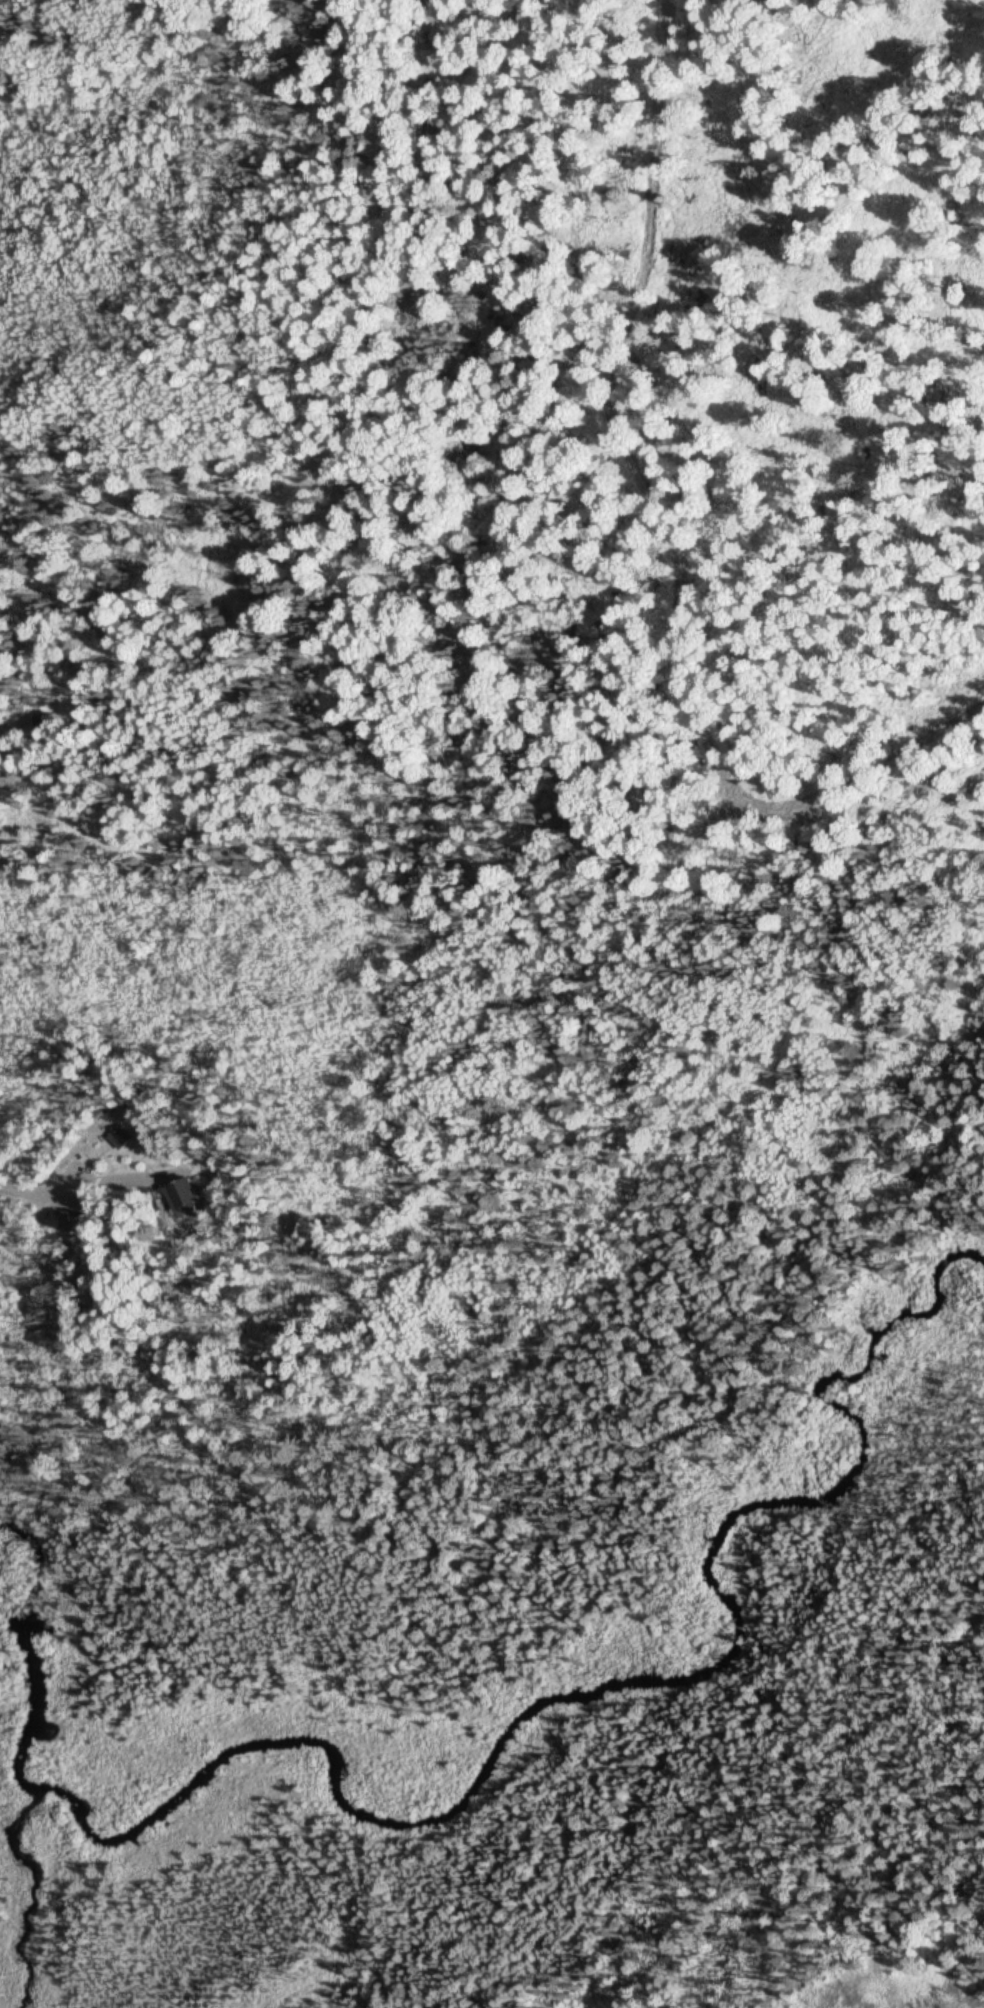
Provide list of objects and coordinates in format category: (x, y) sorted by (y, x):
building: (120, 1139)
building: (185, 1196)

